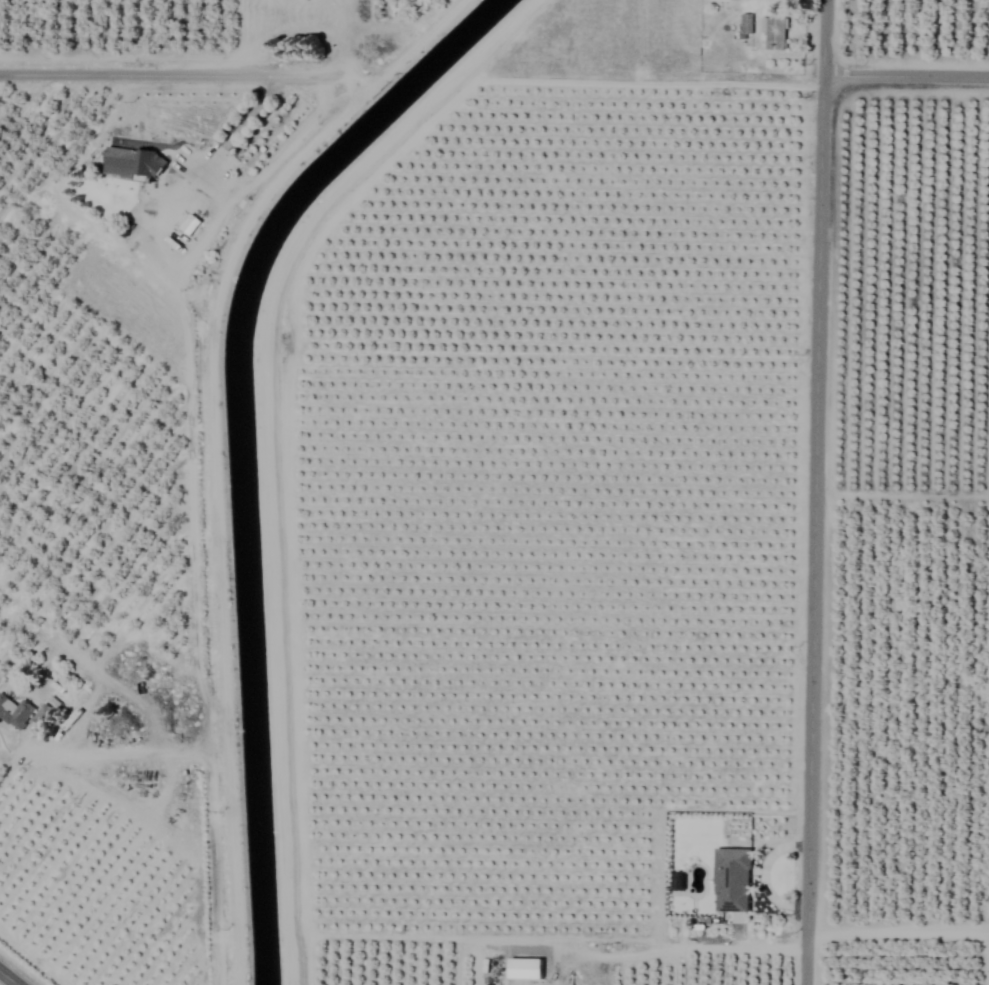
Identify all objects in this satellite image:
building: (745, 24)
building: (774, 34)
road: (173, 71)
road: (906, 75)
road: (279, 160)
building: (132, 163)
crop: (494, 492)
road: (816, 492)
road: (902, 493)
building: (124, 663)
building: (24, 718)
road: (205, 814)
building: (731, 880)
road: (898, 932)
road: (7, 979)

